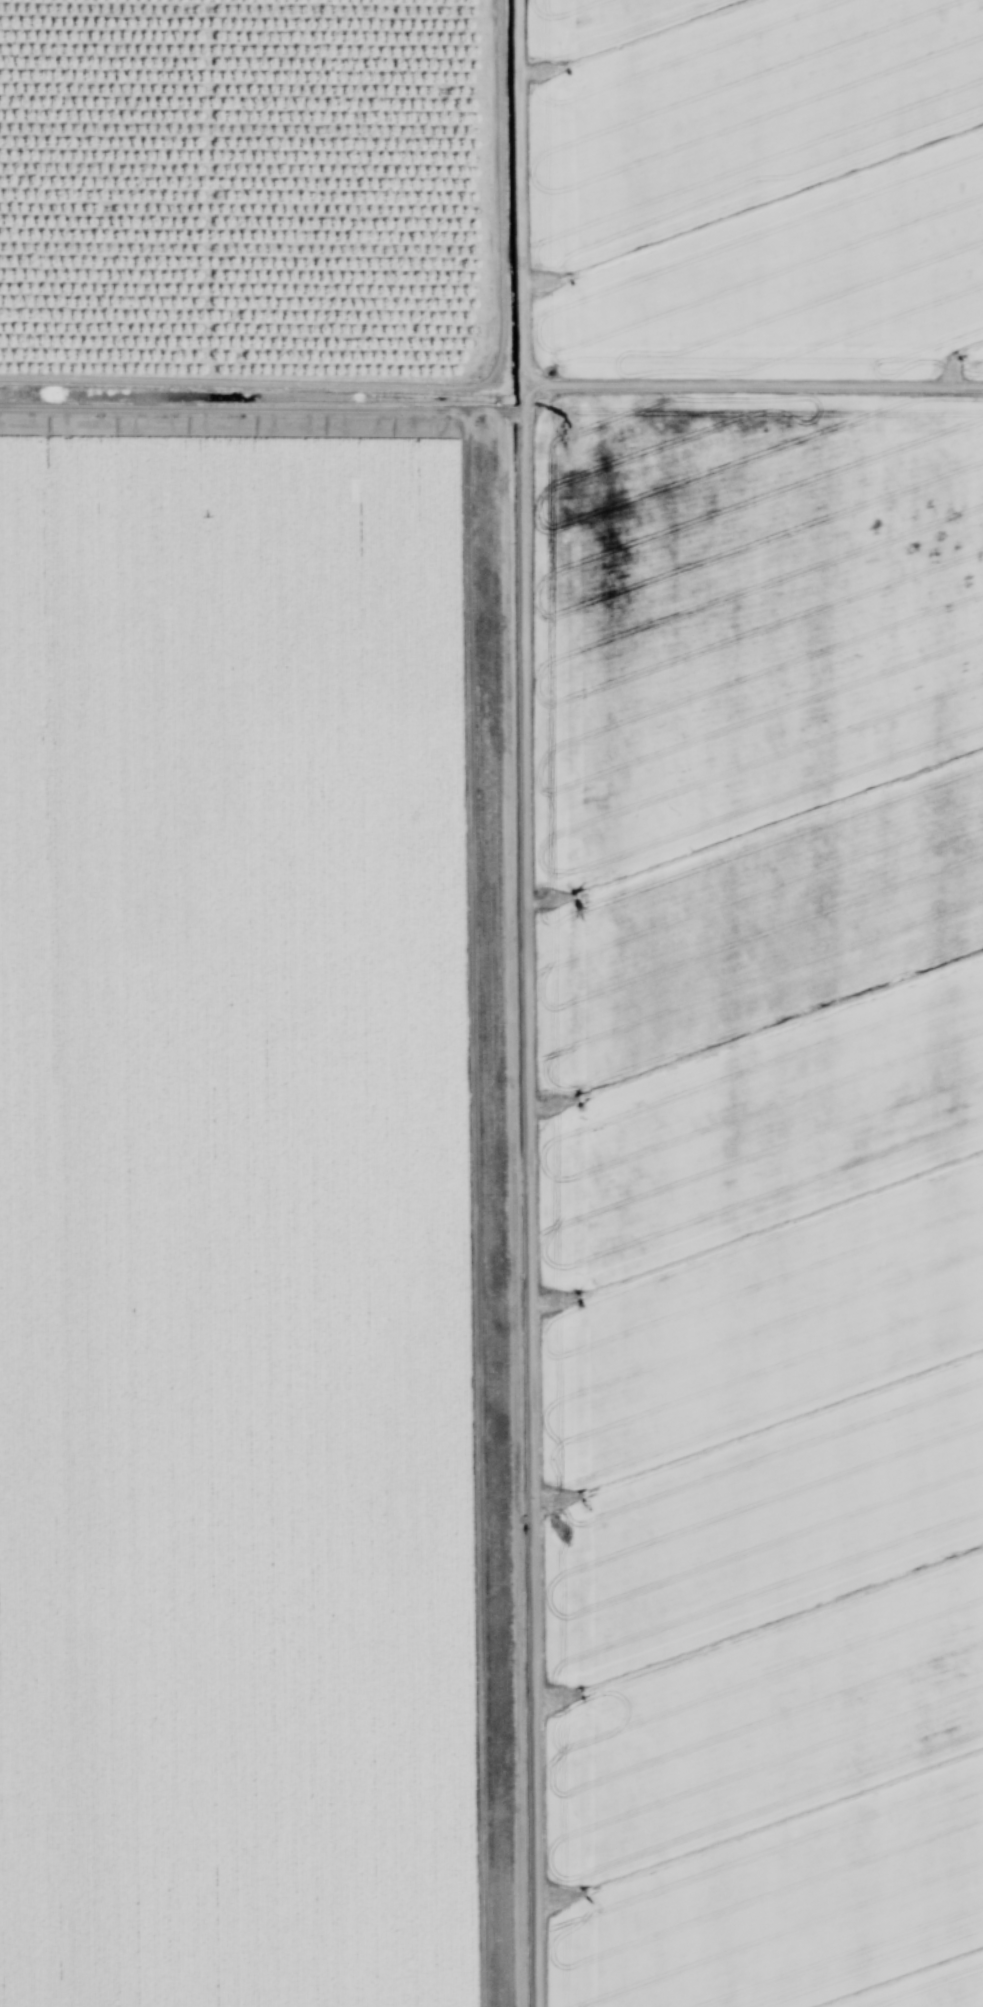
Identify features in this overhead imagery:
road: (491, 386)

